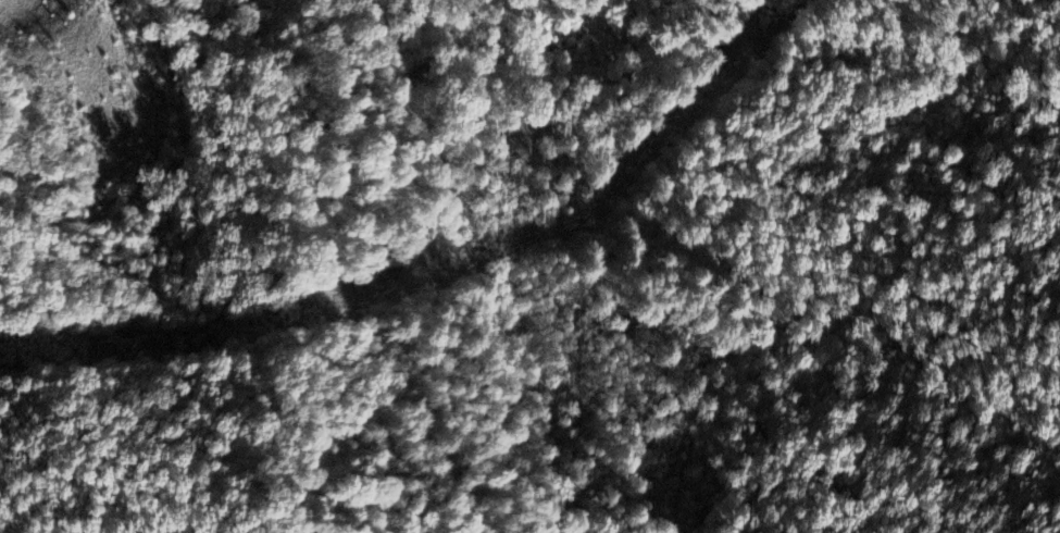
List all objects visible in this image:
road: (441, 38)

